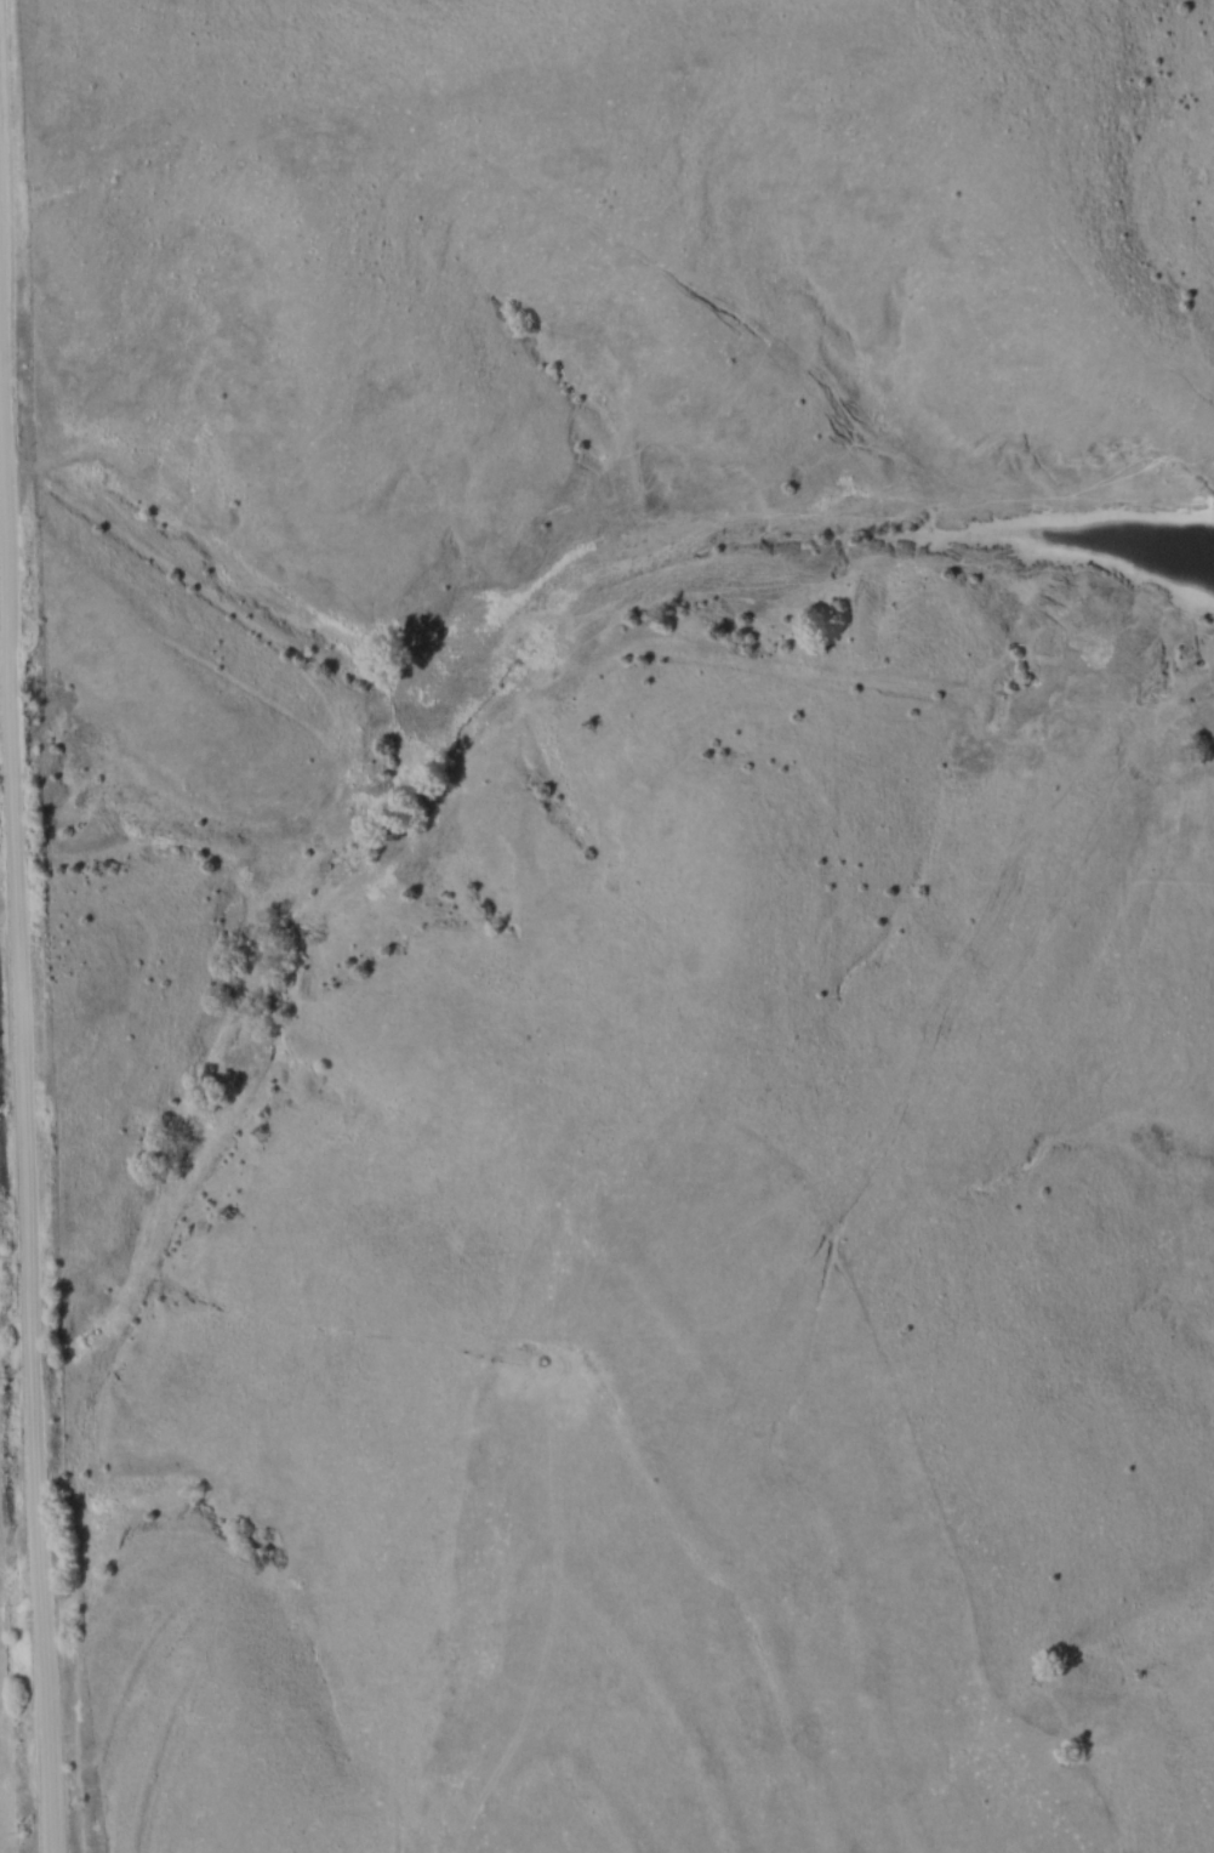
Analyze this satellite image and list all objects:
road: (23, 1130)

